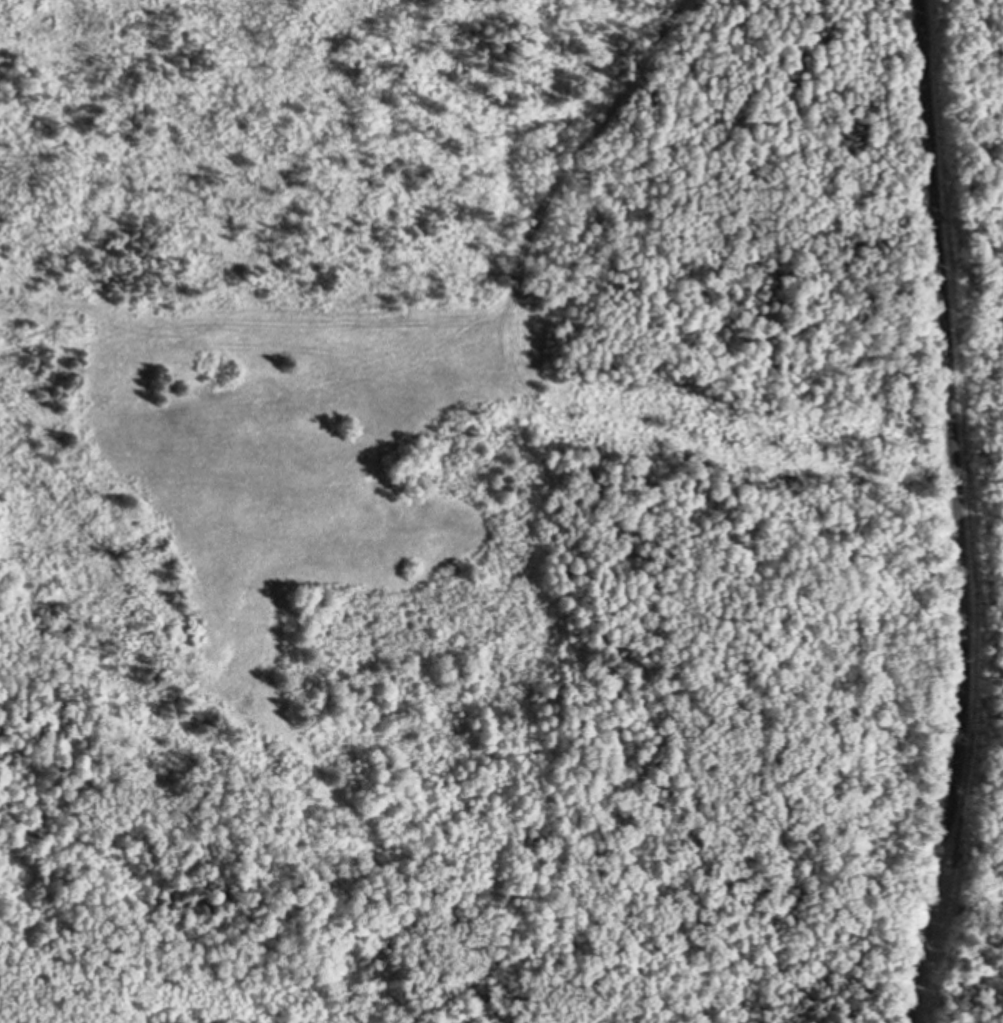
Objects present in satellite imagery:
road: (964, 513)

